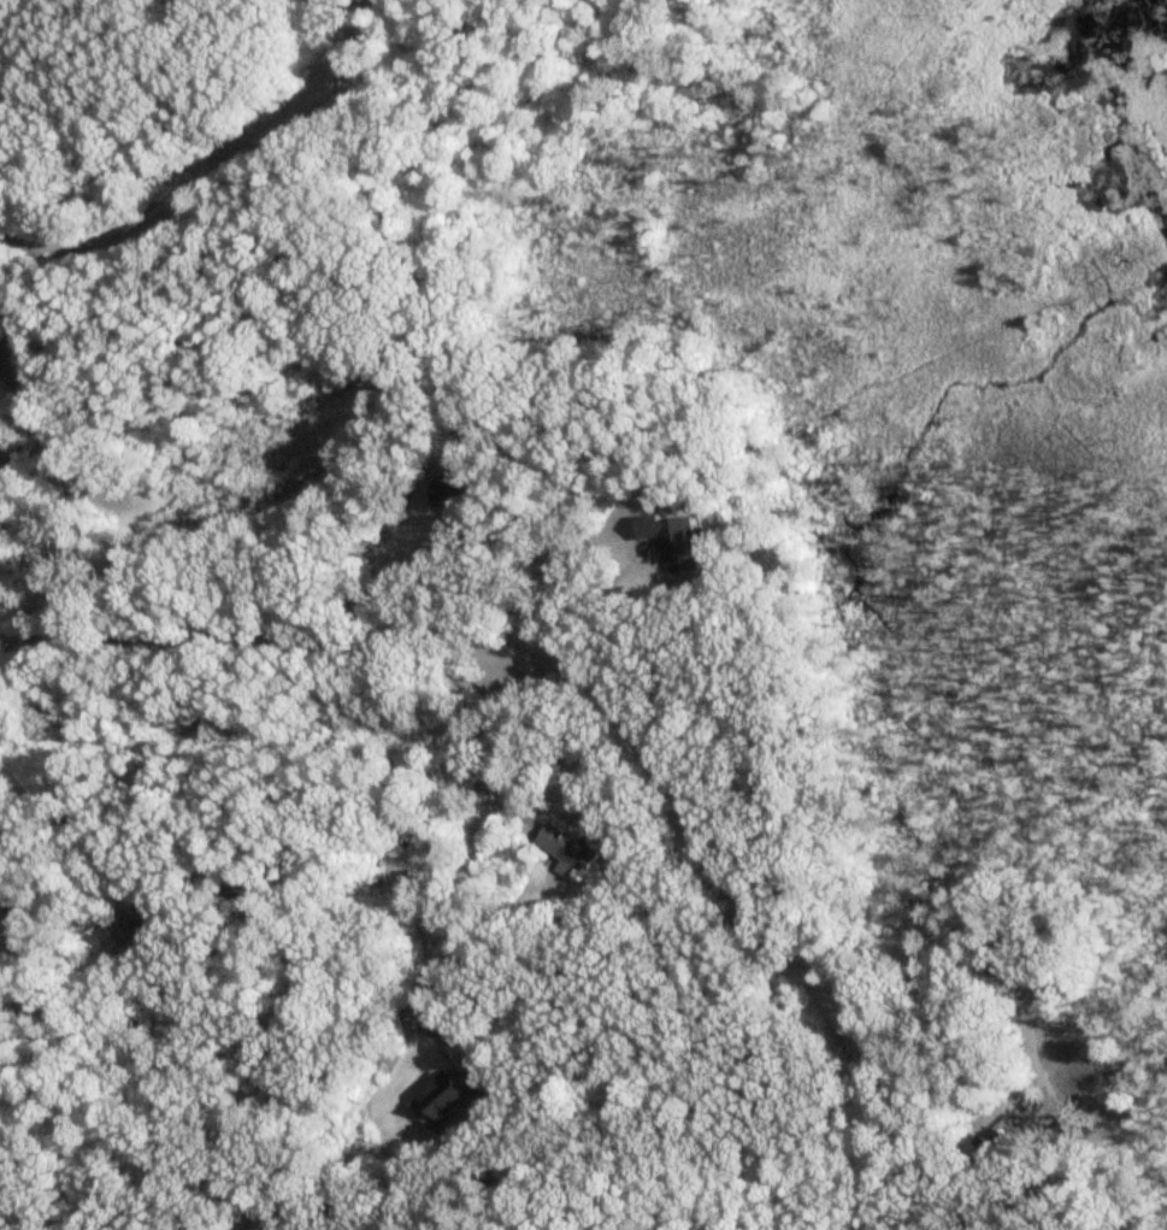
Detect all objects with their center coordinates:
road: (228, 170)
building: (671, 539)
road: (589, 585)
road: (603, 701)
road: (465, 722)
road: (512, 813)
building: (568, 849)
building: (13, 918)
road: (442, 928)
building: (446, 1100)
building: (1068, 1137)
building: (1001, 1148)

